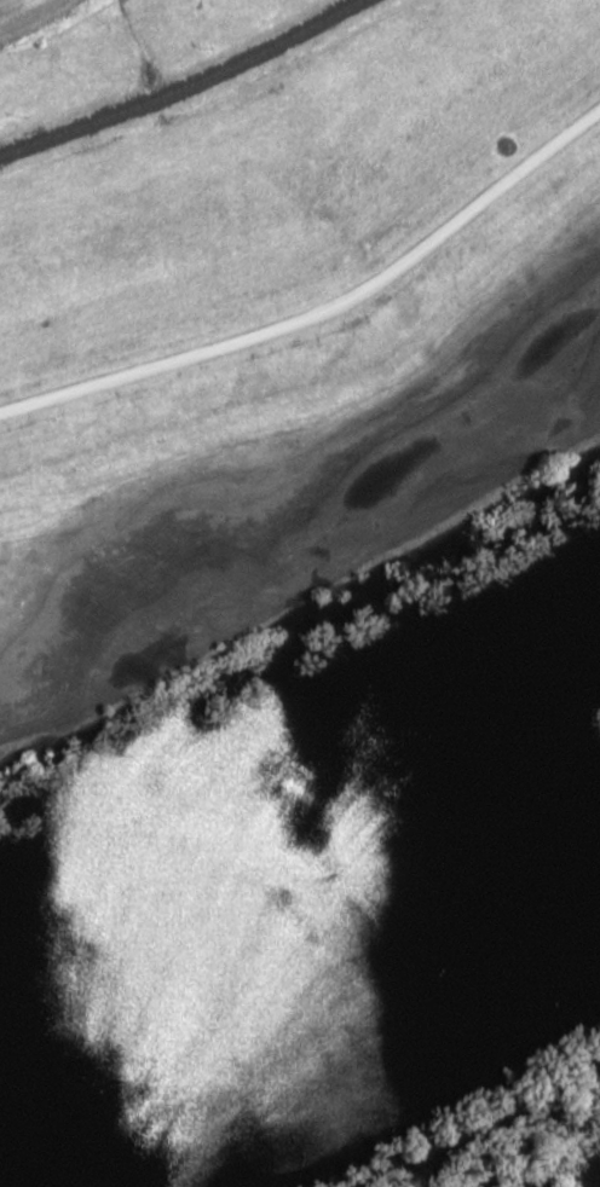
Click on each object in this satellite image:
railway: (184, 86)
road: (333, 301)

